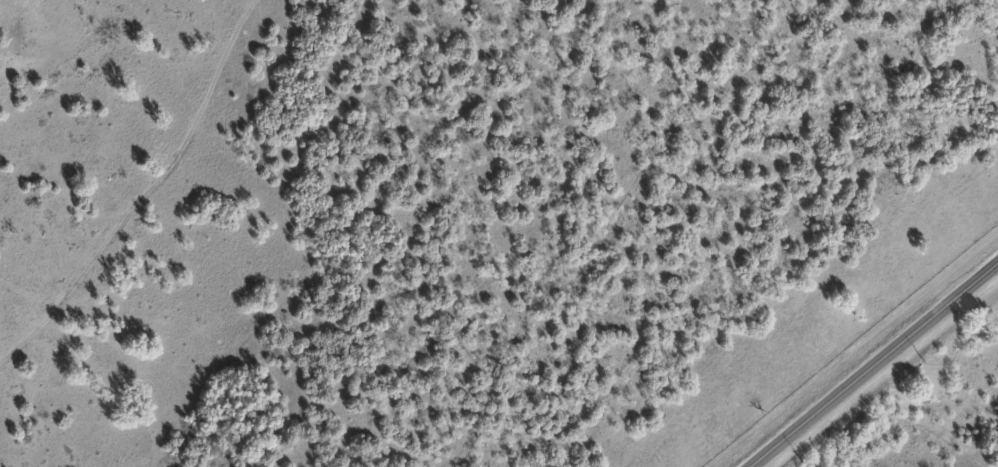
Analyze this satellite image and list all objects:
road: (875, 365)

